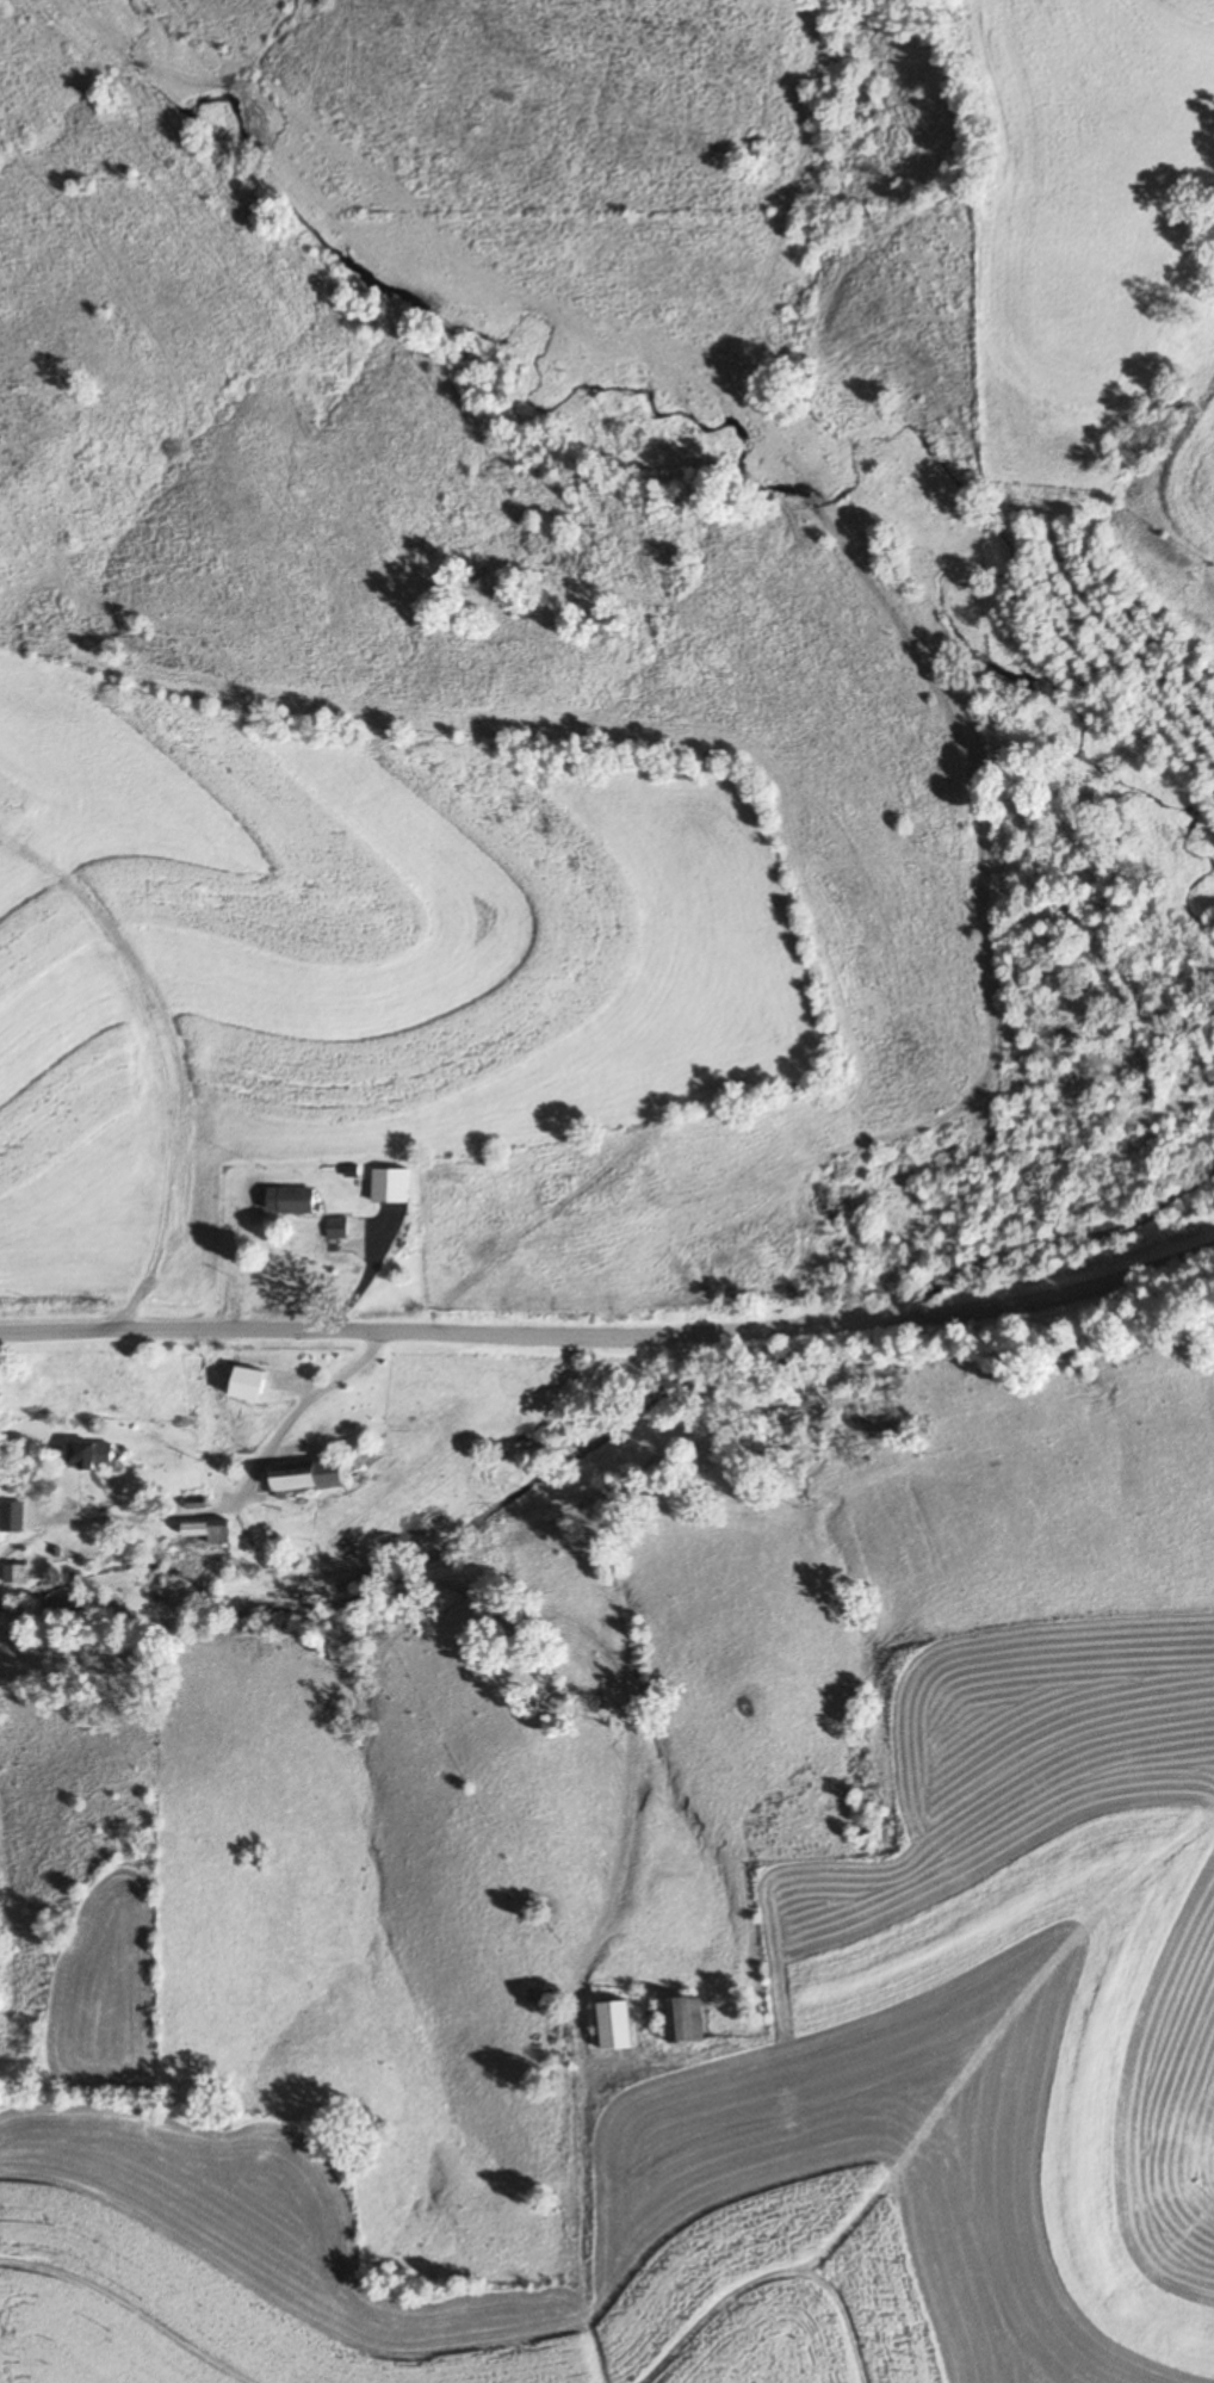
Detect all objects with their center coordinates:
building: (390, 1187)
building: (563, 1193)
building: (297, 1201)
building: (337, 1228)
building: (556, 1265)
road: (612, 1336)
building: (247, 1382)
road: (298, 1410)
building: (91, 1455)
building: (310, 1475)
building: (12, 1522)
building: (210, 1530)
building: (17, 1573)
road: (464, 1596)
building: (685, 2020)
building: (617, 2025)

